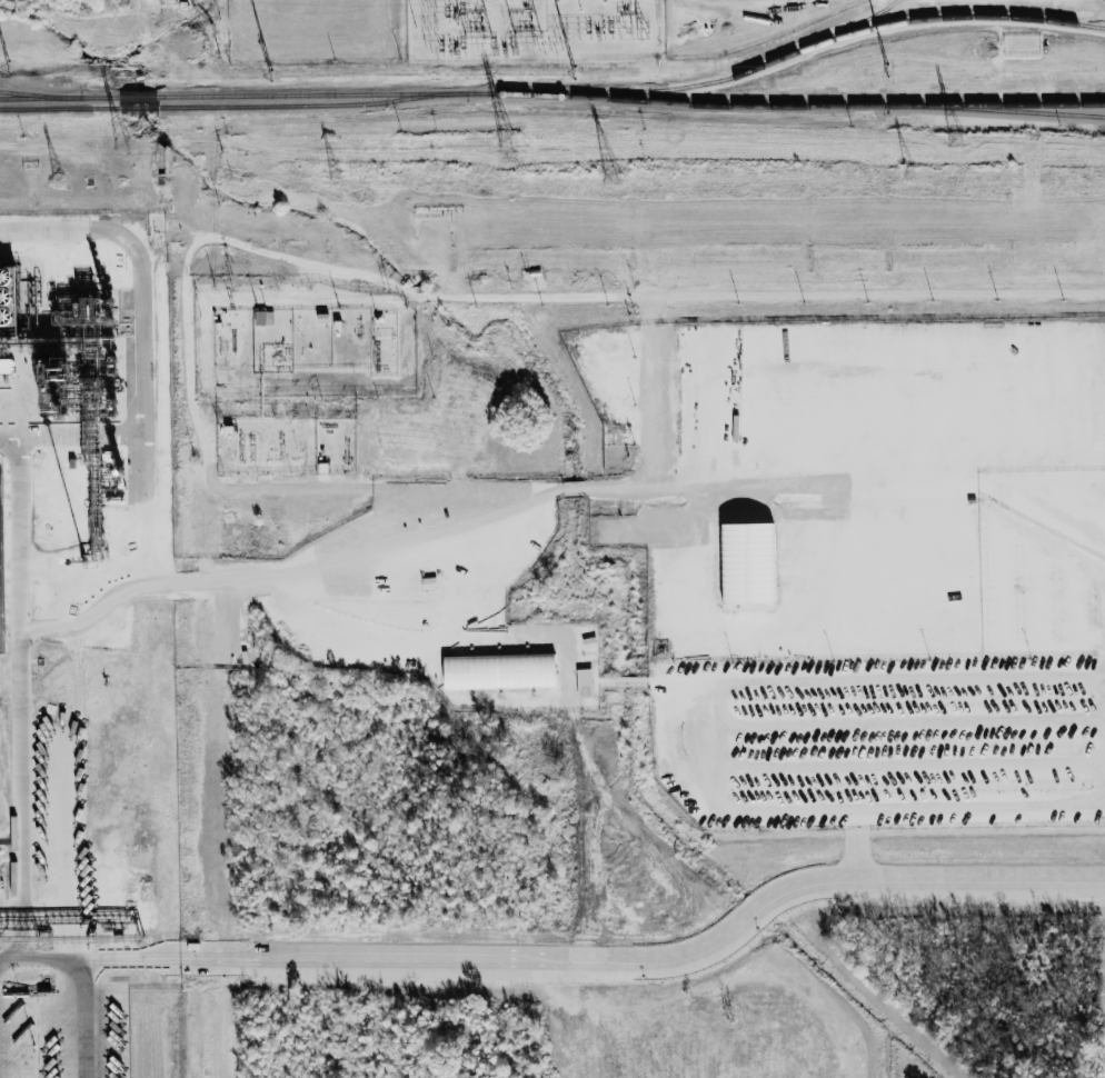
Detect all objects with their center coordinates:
railway: (947, 17)
power substation: (534, 30)
power tower: (885, 70)
power tower: (8, 73)
power tower: (575, 73)
power tower: (271, 81)
railway: (700, 83)
railway: (43, 93)
railway: (321, 94)
railway: (59, 97)
railway: (139, 97)
railway: (312, 104)
railway: (795, 104)
railway: (139, 106)
railway: (60, 107)
railway: (996, 108)
power tower: (957, 138)
power tower: (507, 142)
power tower: (122, 144)
power tower: (908, 173)
power tower: (610, 174)
power tower: (336, 177)
power tower: (58, 179)
road: (771, 293)
building: (6, 366)
building: (748, 563)
road: (1098, 616)
building: (500, 671)
road: (915, 677)
road: (720, 746)
road: (1103, 797)
road: (913, 805)
road: (564, 958)
road: (81, 1018)

